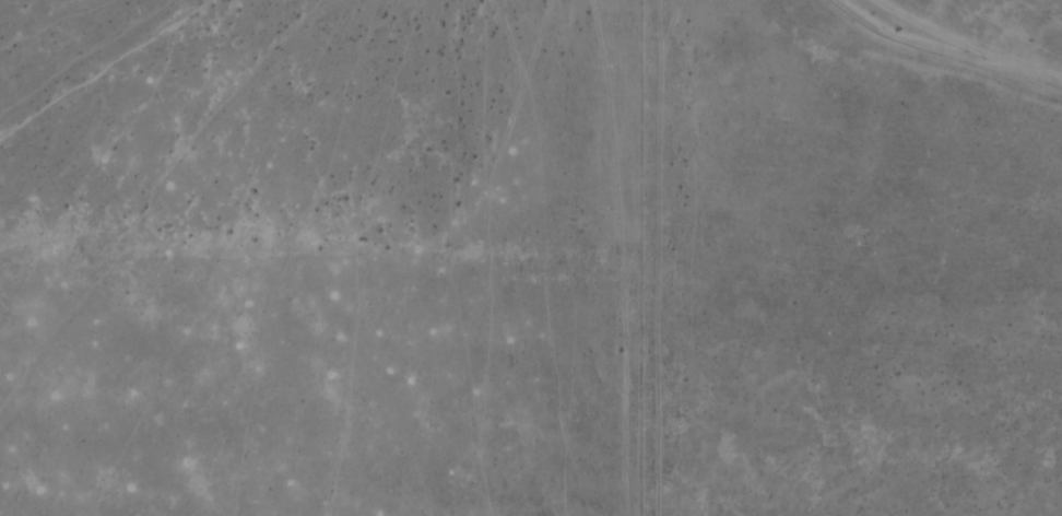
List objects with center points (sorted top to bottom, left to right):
road: (912, 74)

